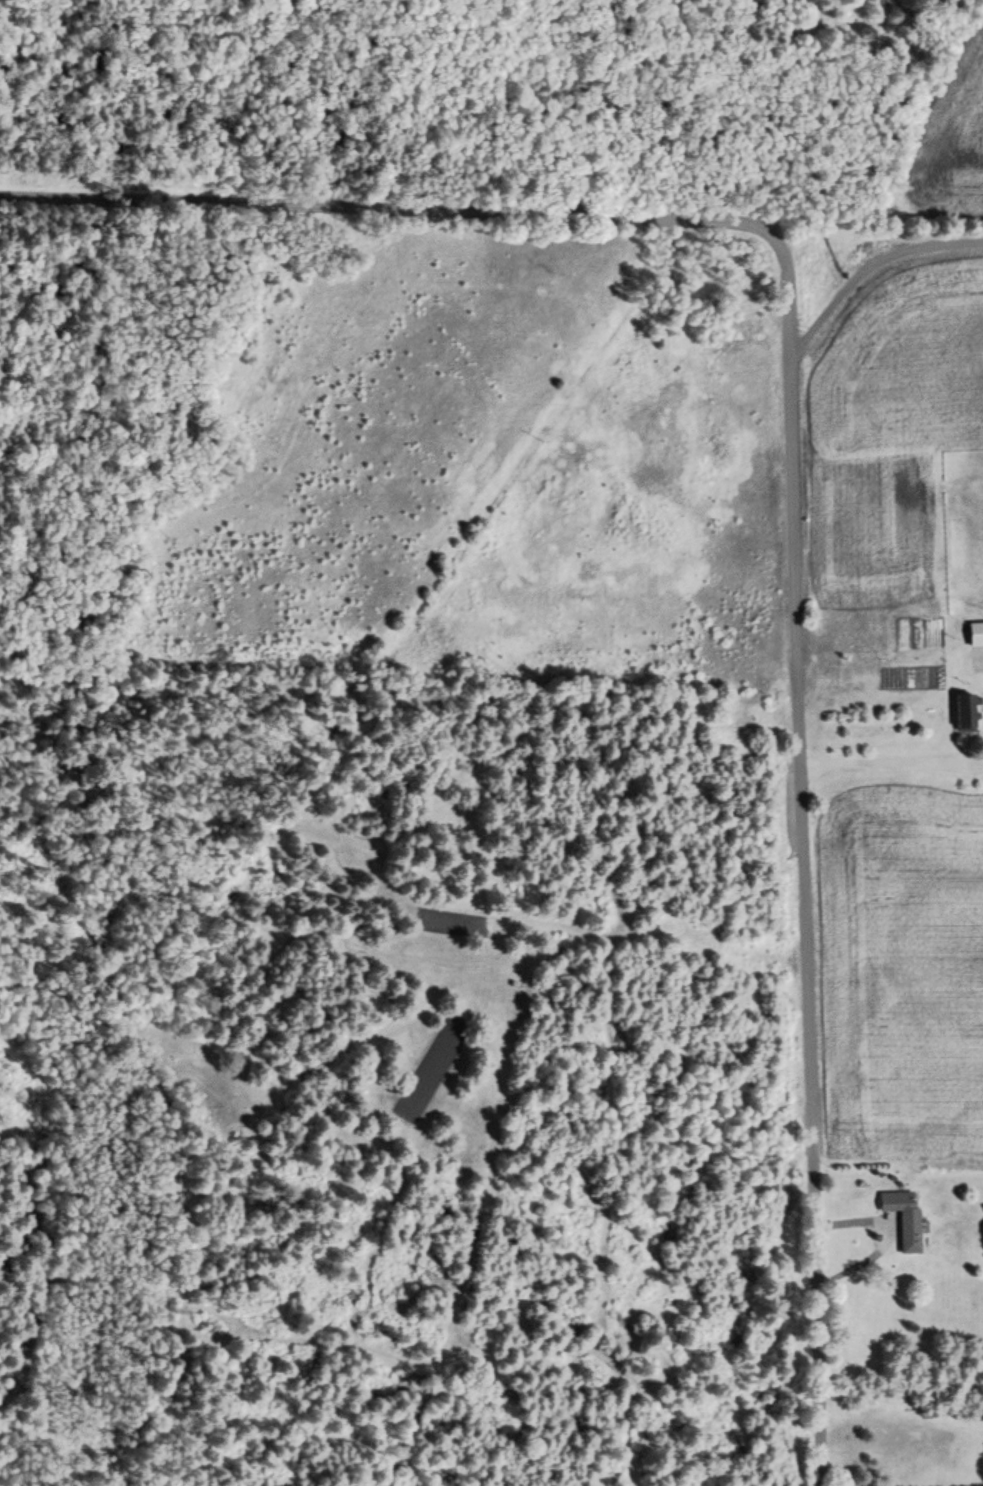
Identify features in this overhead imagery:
road: (794, 470)
building: (975, 663)
building: (964, 712)
building: (903, 1218)

